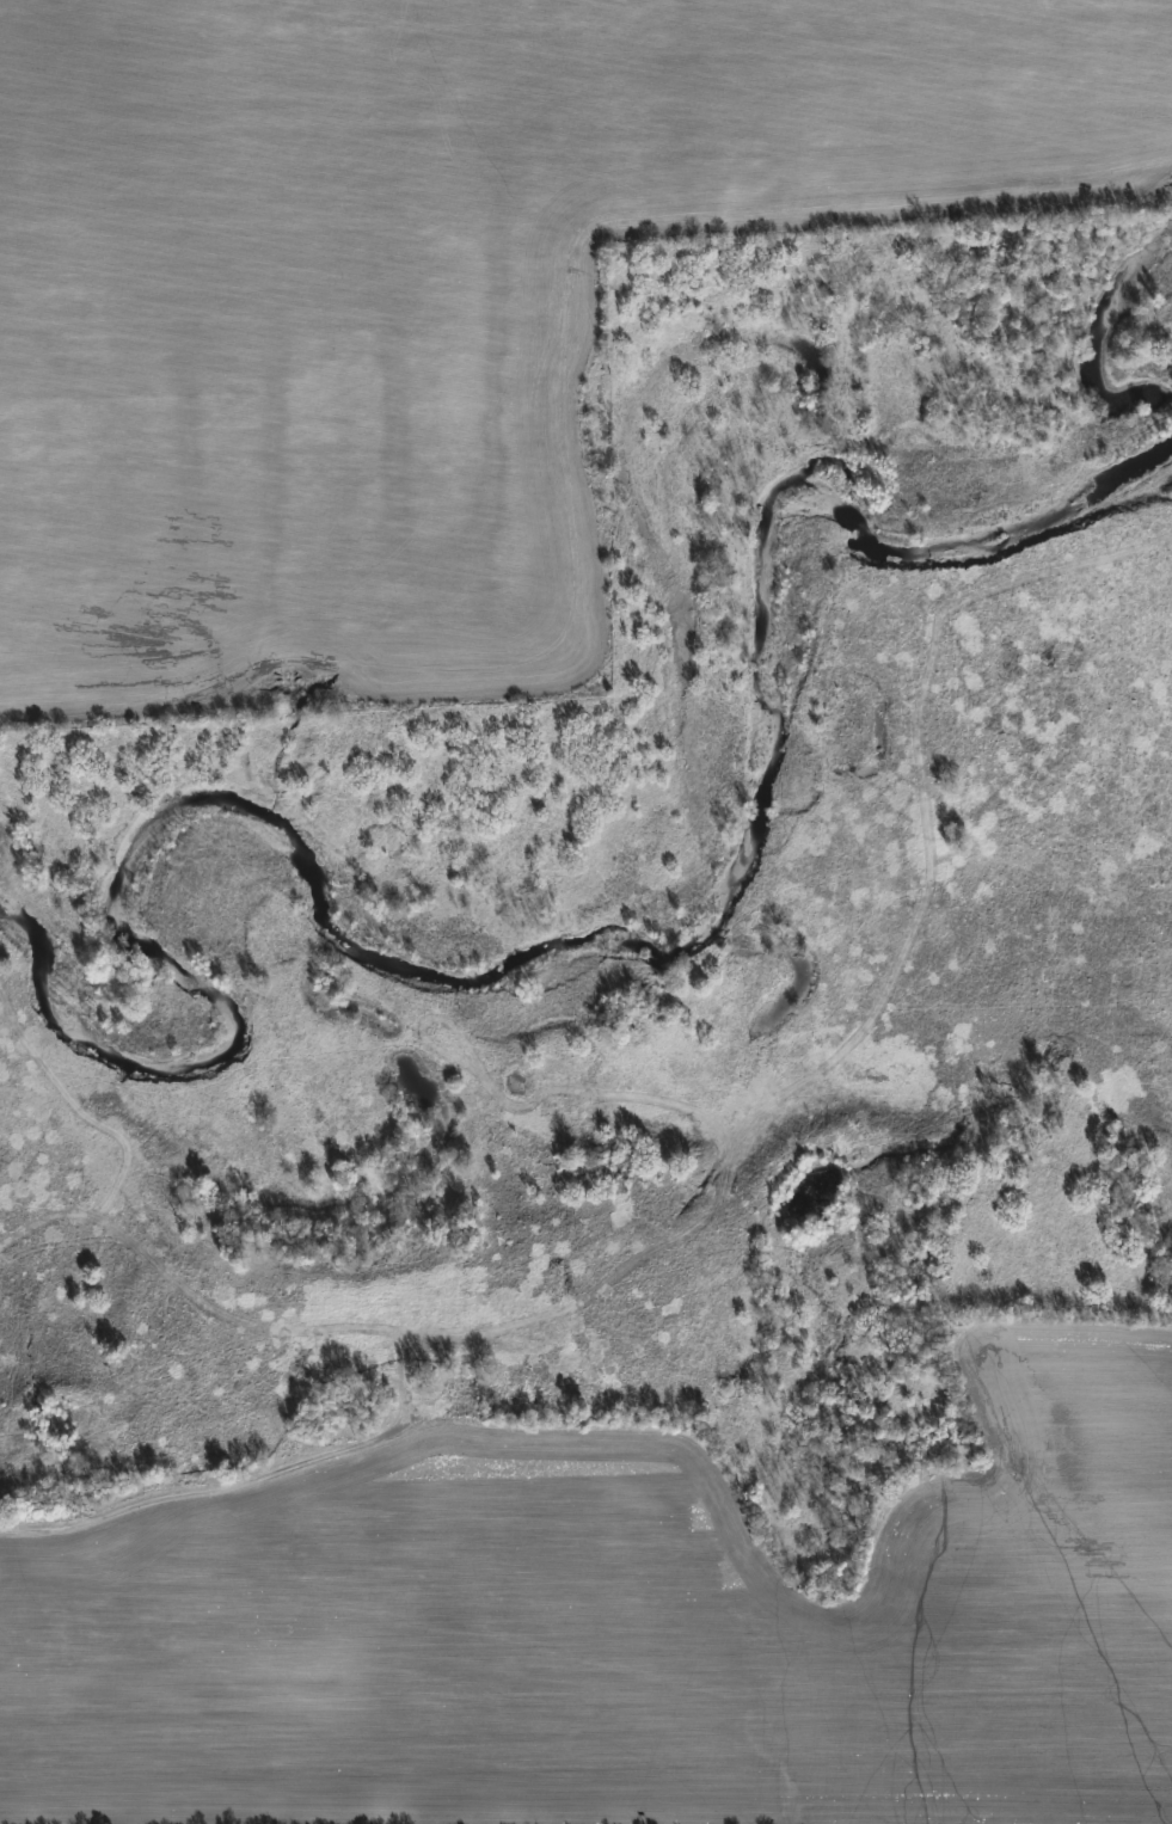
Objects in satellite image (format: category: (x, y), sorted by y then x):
building: (530, 1377)
building: (607, 1388)

